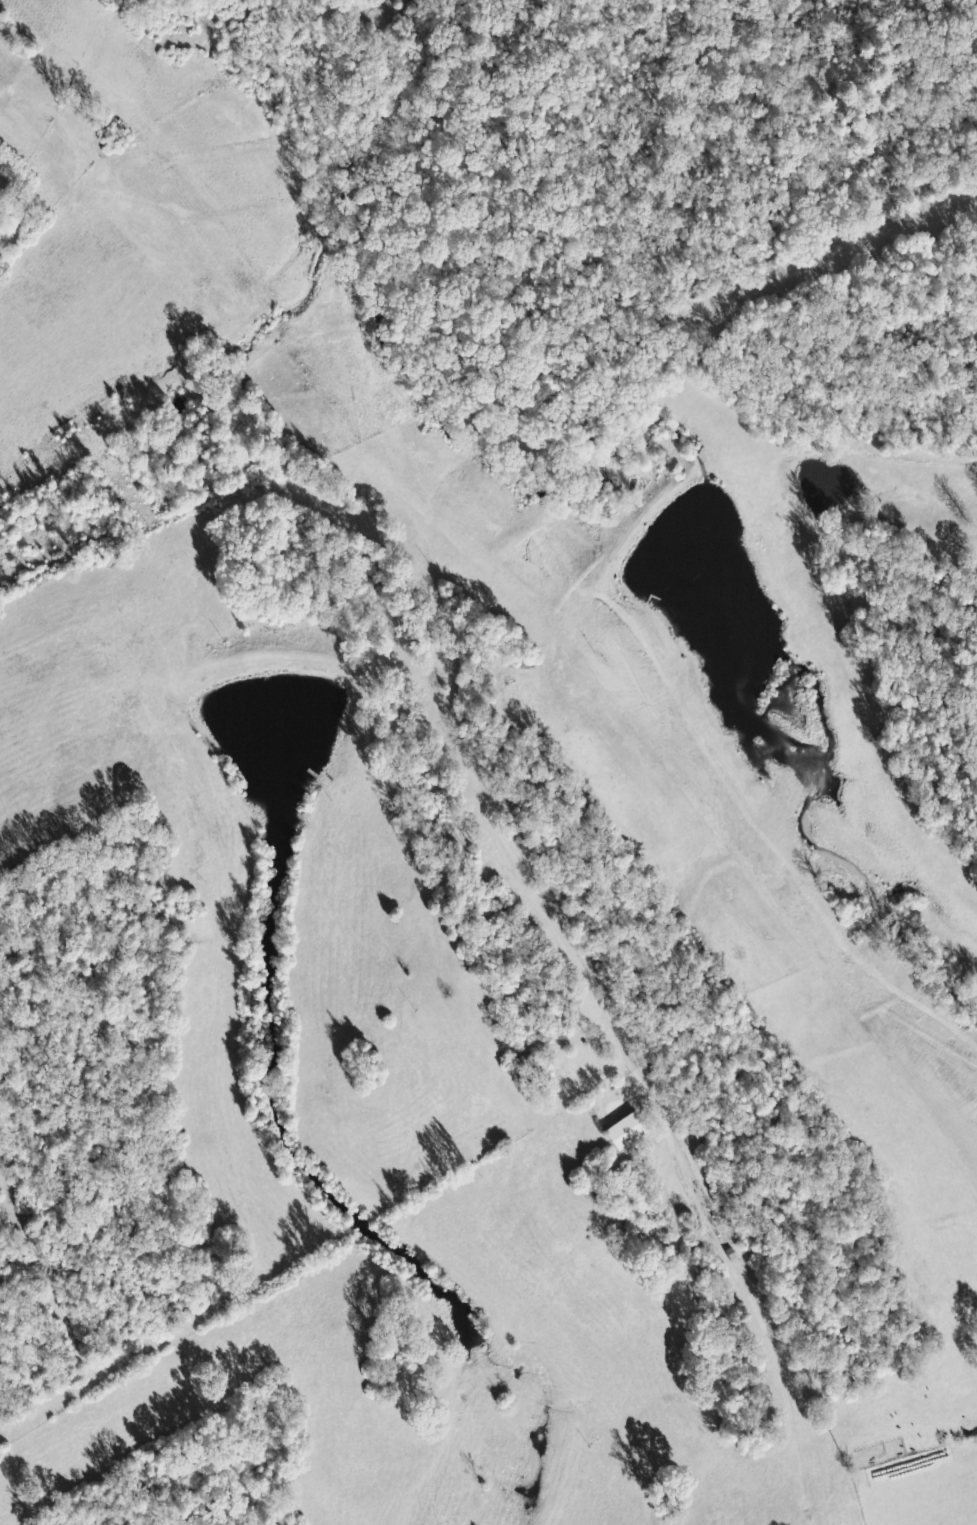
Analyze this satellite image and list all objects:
building: (620, 1132)

